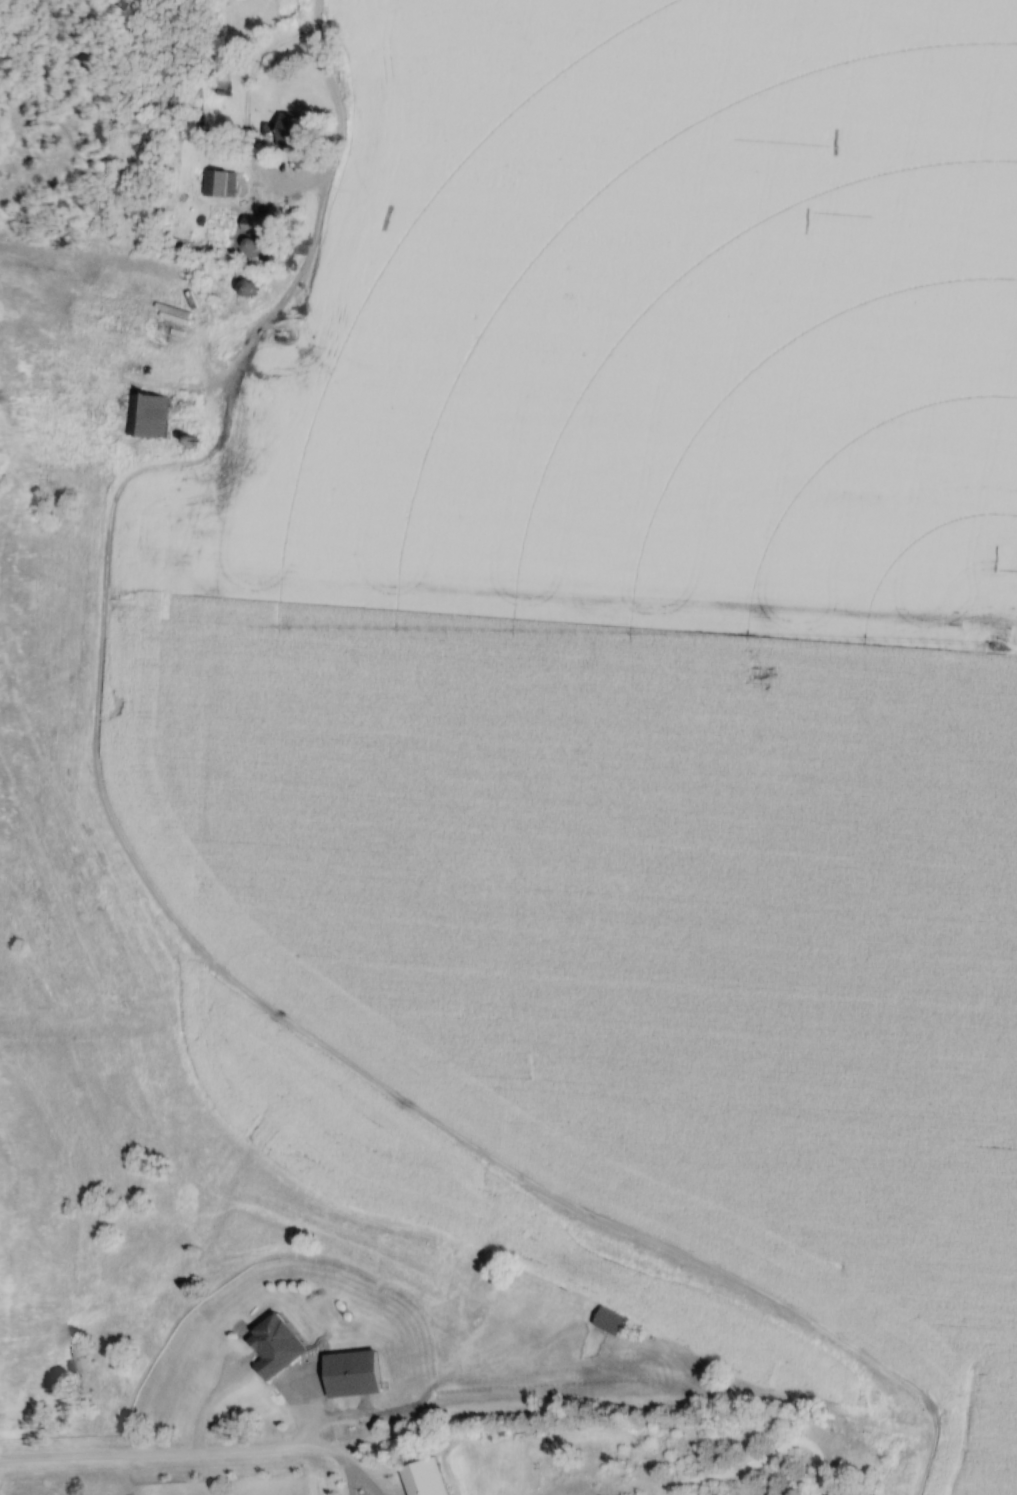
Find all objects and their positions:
road: (341, 114)
building: (303, 129)
building: (220, 181)
building: (264, 222)
building: (253, 286)
building: (150, 414)
building: (613, 1320)
building: (281, 1346)
building: (361, 1373)
road: (176, 1453)
road: (353, 1468)
building: (430, 1478)

